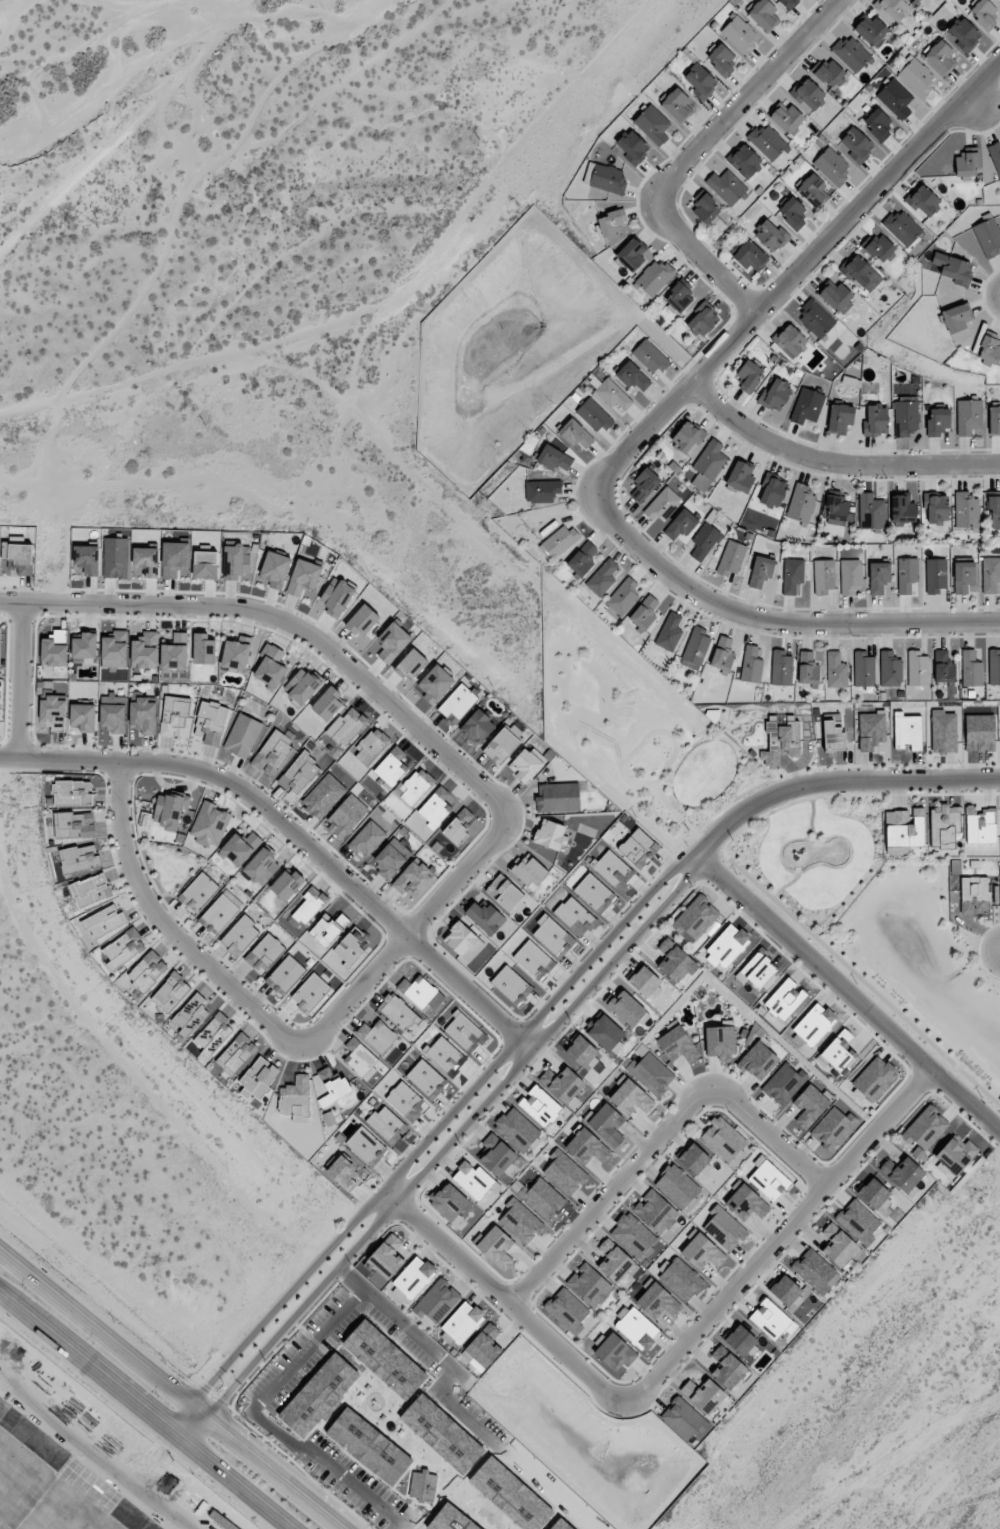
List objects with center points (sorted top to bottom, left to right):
building: (914, 0)
building: (788, 3)
building: (893, 8)
building: (763, 14)
building: (984, 14)
building: (871, 30)
building: (964, 34)
building: (740, 35)
building: (851, 53)
building: (940, 57)
building: (721, 60)
building: (829, 72)
building: (917, 76)
building: (700, 81)
building: (808, 94)
road: (750, 98)
building: (895, 98)
building: (676, 106)
building: (786, 118)
building: (653, 125)
building: (877, 125)
building: (768, 142)
building: (855, 146)
building: (632, 147)
building: (995, 156)
building: (744, 162)
building: (832, 166)
building: (966, 166)
building: (607, 179)
building: (726, 186)
building: (813, 190)
building: (923, 200)
building: (705, 208)
building: (792, 213)
building: (613, 222)
building: (902, 227)
building: (770, 235)
building: (988, 236)
building: (881, 247)
building: (632, 254)
building: (750, 256)
road: (705, 258)
building: (953, 268)
building: (861, 274)
building: (654, 277)
road: (791, 277)
building: (679, 296)
building: (836, 296)
building: (956, 318)
building: (703, 319)
building: (815, 319)
building: (790, 341)
building: (990, 348)
building: (650, 356)
building: (749, 376)
building: (633, 377)
building: (775, 394)
building: (612, 395)
building: (807, 406)
building: (594, 415)
building: (968, 416)
building: (840, 418)
building: (905, 419)
building: (875, 420)
building: (994, 420)
building: (938, 422)
building: (575, 434)
building: (688, 437)
building: (553, 458)
road: (834, 462)
building: (708, 464)
building: (741, 476)
building: (644, 484)
building: (542, 490)
building: (772, 492)
building: (801, 504)
building: (662, 505)
building: (936, 507)
building: (837, 510)
building: (903, 510)
building: (966, 510)
building: (870, 511)
building: (994, 512)
building: (681, 524)
building: (559, 541)
building: (704, 541)
building: (115, 557)
building: (18, 558)
building: (731, 558)
building: (87, 559)
building: (174, 559)
building: (582, 559)
building: (146, 560)
building: (236, 561)
building: (205, 564)
building: (275, 569)
building: (761, 571)
building: (906, 574)
building: (792, 575)
building: (935, 575)
building: (991, 575)
building: (303, 576)
building: (823, 576)
building: (851, 576)
building: (963, 576)
building: (602, 577)
building: (878, 577)
building: (337, 596)
building: (623, 597)
building: (644, 613)
building: (362, 620)
road: (780, 623)
road: (293, 624)
building: (669, 632)
building: (392, 642)
building: (84, 648)
building: (204, 648)
building: (54, 649)
building: (114, 649)
building: (695, 649)
building: (144, 650)
building: (175, 652)
building: (722, 653)
building: (236, 654)
building: (411, 665)
building: (751, 665)
building: (269, 666)
building: (943, 666)
building: (781, 668)
building: (917, 668)
building: (994, 668)
building: (808, 669)
building: (864, 669)
building: (890, 669)
building: (971, 669)
building: (836, 670)
road: (23, 680)
building: (435, 684)
building: (302, 687)
building: (328, 704)
building: (457, 704)
building: (53, 707)
building: (113, 713)
building: (143, 714)
building: (174, 716)
building: (83, 717)
building: (210, 722)
building: (346, 726)
building: (477, 727)
park: (631, 728)
building: (871, 730)
building: (907, 731)
building: (943, 732)
building: (980, 732)
building: (242, 736)
building: (833, 736)
building: (779, 738)
building: (371, 746)
building: (273, 752)
building: (526, 764)
building: (391, 766)
building: (299, 773)
road: (837, 781)
building: (415, 786)
building: (72, 793)
building: (323, 796)
building: (557, 797)
building: (435, 808)
building: (169, 810)
building: (346, 817)
building: (74, 825)
building: (209, 825)
building: (943, 825)
building: (980, 825)
building: (459, 826)
building: (904, 828)
building: (550, 835)
road: (296, 838)
building: (367, 839)
building: (240, 847)
building: (638, 848)
building: (391, 857)
park: (805, 857)
building: (79, 858)
building: (262, 866)
building: (613, 870)
building: (529, 871)
building: (411, 878)
building: (286, 884)
building: (90, 890)
building: (198, 892)
building: (592, 892)
building: (504, 893)
building: (975, 894)
building: (309, 905)
building: (220, 912)
building: (575, 916)
building: (485, 917)
building: (697, 918)
building: (104, 921)
road: (169, 924)
building: (328, 929)
building: (550, 934)
building: (240, 936)
road: (406, 937)
building: (461, 939)
building: (727, 947)
building: (123, 949)
building: (264, 953)
building: (533, 960)
building: (674, 961)
building: (147, 971)
building: (756, 971)
building: (285, 974)
road: (856, 976)
building: (644, 981)
building: (511, 985)
building: (418, 991)
building: (171, 992)
building: (310, 992)
road: (850, 995)
building: (785, 999)
building: (626, 1008)
building: (397, 1012)
building: (190, 1014)
building: (814, 1024)
building: (605, 1033)
building: (213, 1035)
building: (378, 1036)
building: (719, 1042)
building: (677, 1044)
building: (581, 1051)
building: (837, 1052)
building: (236, 1054)
building: (444, 1055)
building: (360, 1059)
building: (758, 1061)
building: (651, 1073)
building: (425, 1077)
building: (258, 1078)
building: (874, 1078)
building: (334, 1083)
building: (562, 1083)
building: (784, 1083)
building: (631, 1098)
building: (296, 1099)
building: (406, 1102)
building: (811, 1105)
building: (540, 1106)
building: (385, 1122)
building: (607, 1125)
building: (833, 1128)
building: (925, 1128)
building: (516, 1129)
building: (723, 1138)
road: (431, 1139)
road: (658, 1140)
building: (364, 1145)
building: (587, 1147)
road: (445, 1154)
building: (495, 1154)
building: (954, 1155)
building: (694, 1159)
building: (341, 1170)
building: (564, 1172)
building: (903, 1175)
building: (473, 1180)
building: (769, 1181)
building: (677, 1186)
building: (874, 1194)
building: (542, 1198)
building: (449, 1202)
building: (746, 1203)
building: (655, 1211)
building: (858, 1221)
building: (520, 1222)
building: (724, 1228)
building: (632, 1235)
road: (781, 1238)
building: (839, 1246)
building: (496, 1247)
building: (702, 1252)
building: (387, 1257)
building: (615, 1261)
building: (412, 1279)
building: (681, 1279)
building: (589, 1285)
building: (785, 1290)
road: (503, 1298)
building: (437, 1301)
building: (658, 1302)
building: (567, 1310)
building: (772, 1319)
building: (637, 1328)
building: (741, 1341)
building: (483, 1346)
building: (615, 1352)
building: (727, 1368)
road: (174, 1388)
building: (703, 1395)
road: (145, 1411)
building: (682, 1418)
building: (423, 1485)

